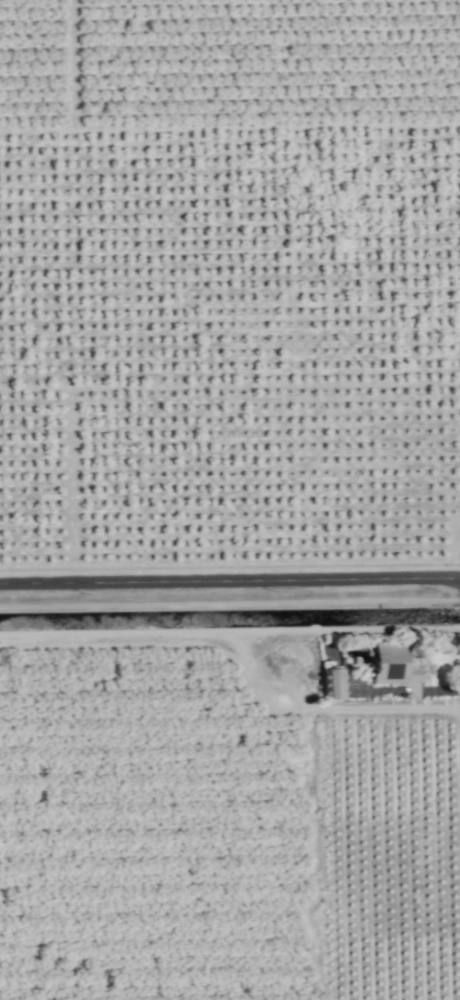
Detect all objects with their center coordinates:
road: (230, 579)
building: (396, 663)
building: (332, 683)

